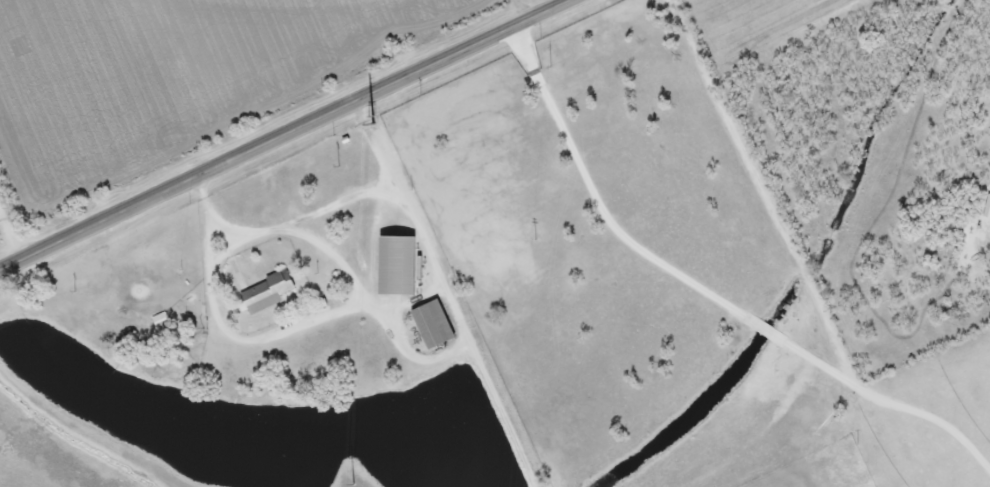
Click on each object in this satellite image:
road: (528, 10)
power tower: (391, 58)
power tower: (555, 65)
road: (599, 69)
power tower: (375, 117)
road: (289, 135)
power tower: (331, 166)
road: (18, 219)
power tower: (531, 239)
road: (804, 263)
building: (394, 266)
power tower: (65, 292)
building: (265, 293)
building: (430, 324)

